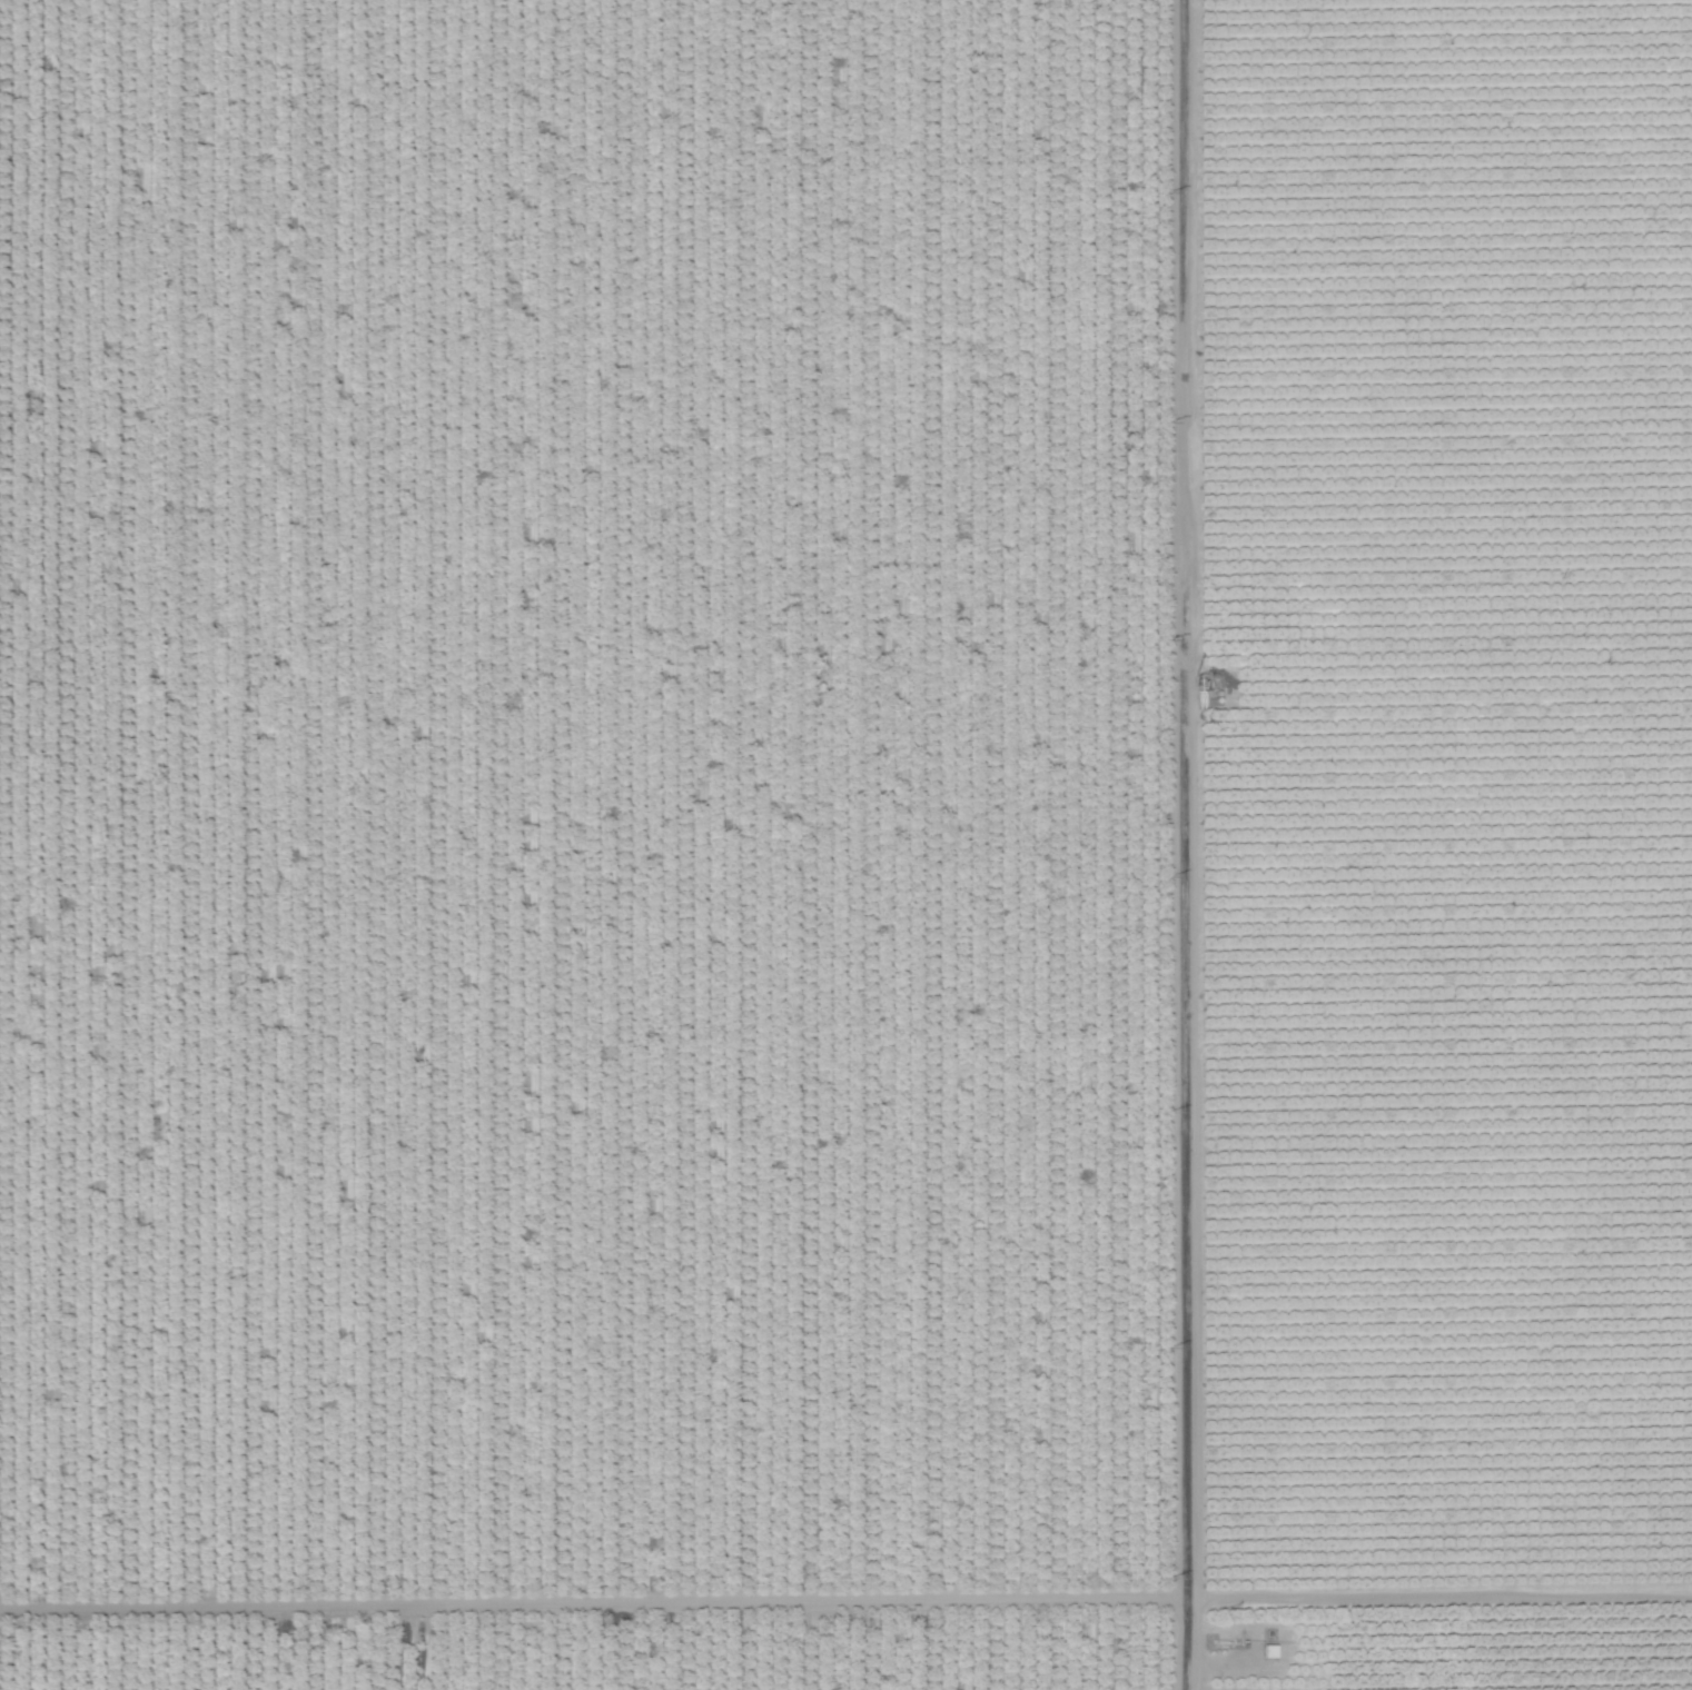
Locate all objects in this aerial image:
road: (1180, 844)

